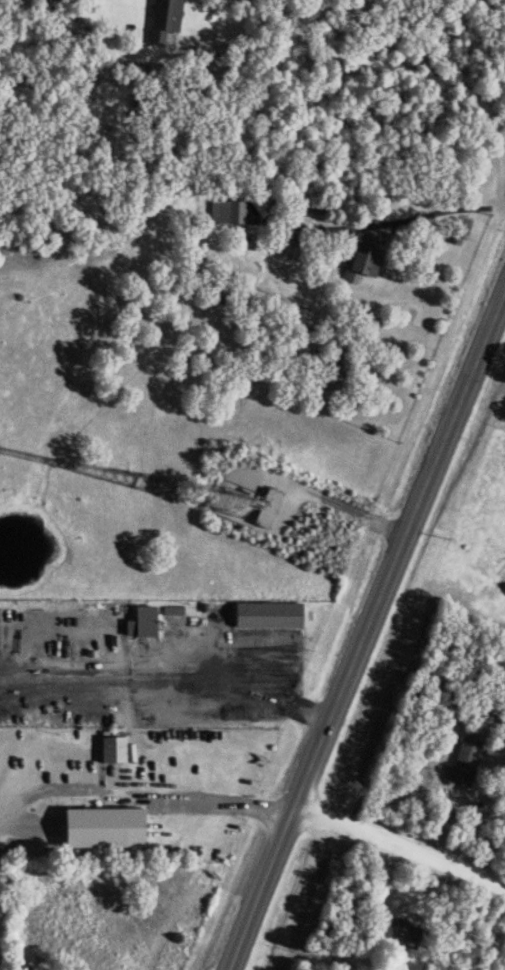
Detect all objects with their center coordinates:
building: (163, 20)
road: (387, 63)
building: (226, 213)
road: (413, 216)
building: (458, 232)
building: (360, 259)
road: (318, 498)
building: (264, 508)
building: (265, 615)
building: (138, 622)
road: (365, 627)
road: (192, 680)
building: (111, 749)
building: (67, 758)
building: (463, 764)
road: (212, 801)
building: (98, 828)
road: (398, 846)
building: (395, 933)

